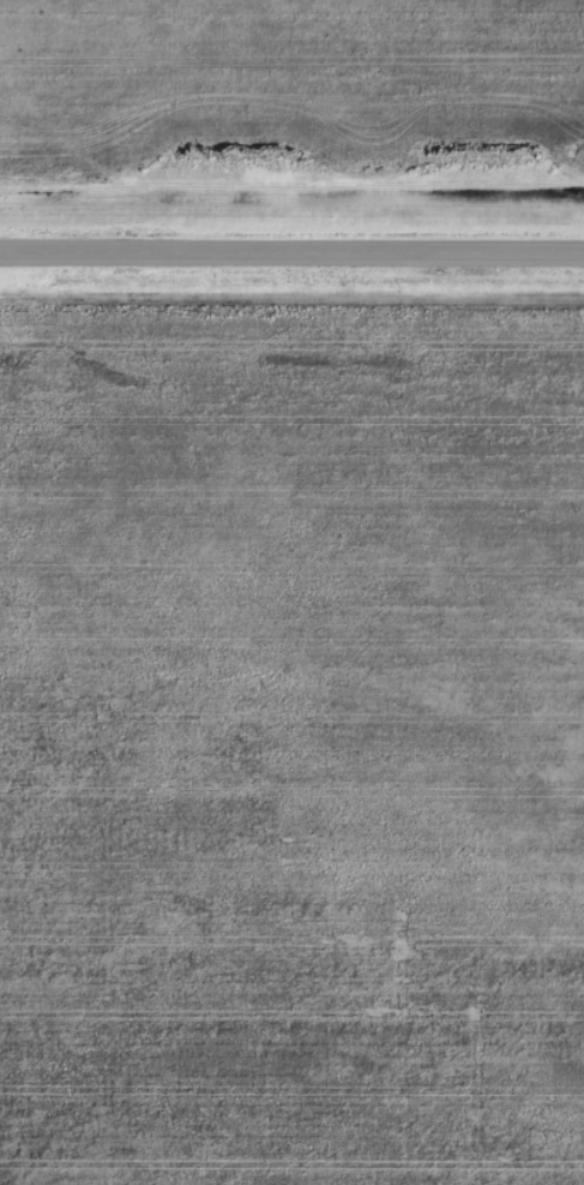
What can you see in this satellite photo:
road: (291, 255)

